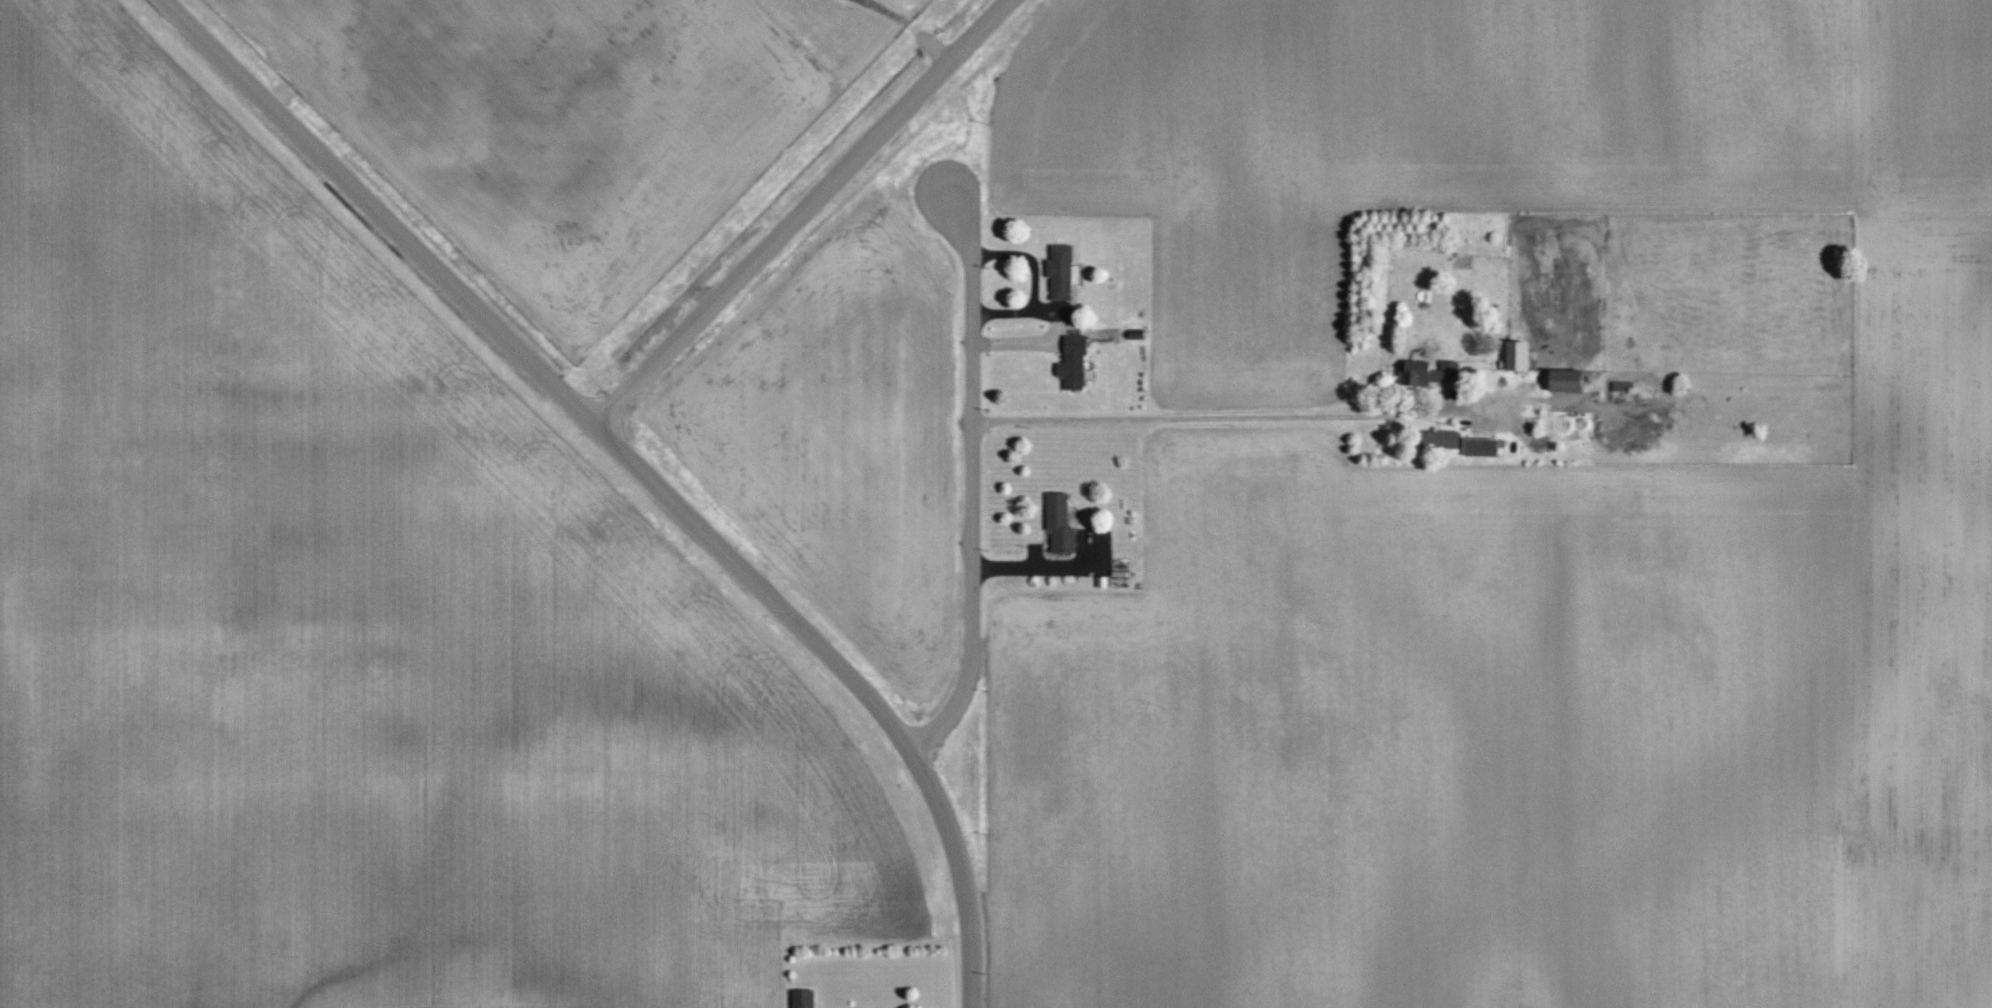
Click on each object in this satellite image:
airport: (584, 122)
road: (808, 210)
building: (1063, 271)
building: (1520, 355)
building: (1074, 362)
road: (548, 368)
building: (1430, 372)
building: (1568, 380)
road: (1216, 415)
building: (1446, 438)
building: (1060, 522)
road: (971, 614)

